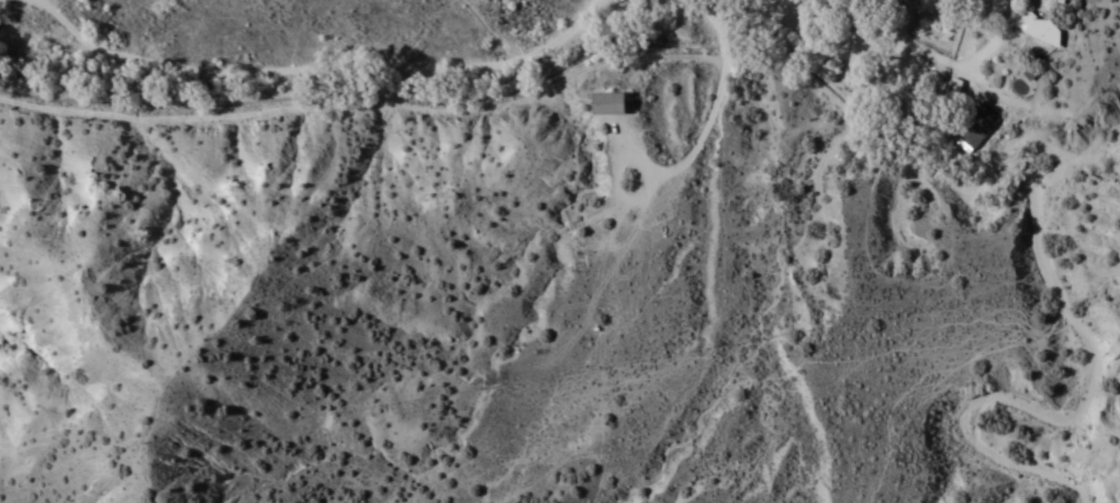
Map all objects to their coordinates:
road: (850, 3)
building: (1037, 26)
building: (600, 101)
building: (972, 124)

